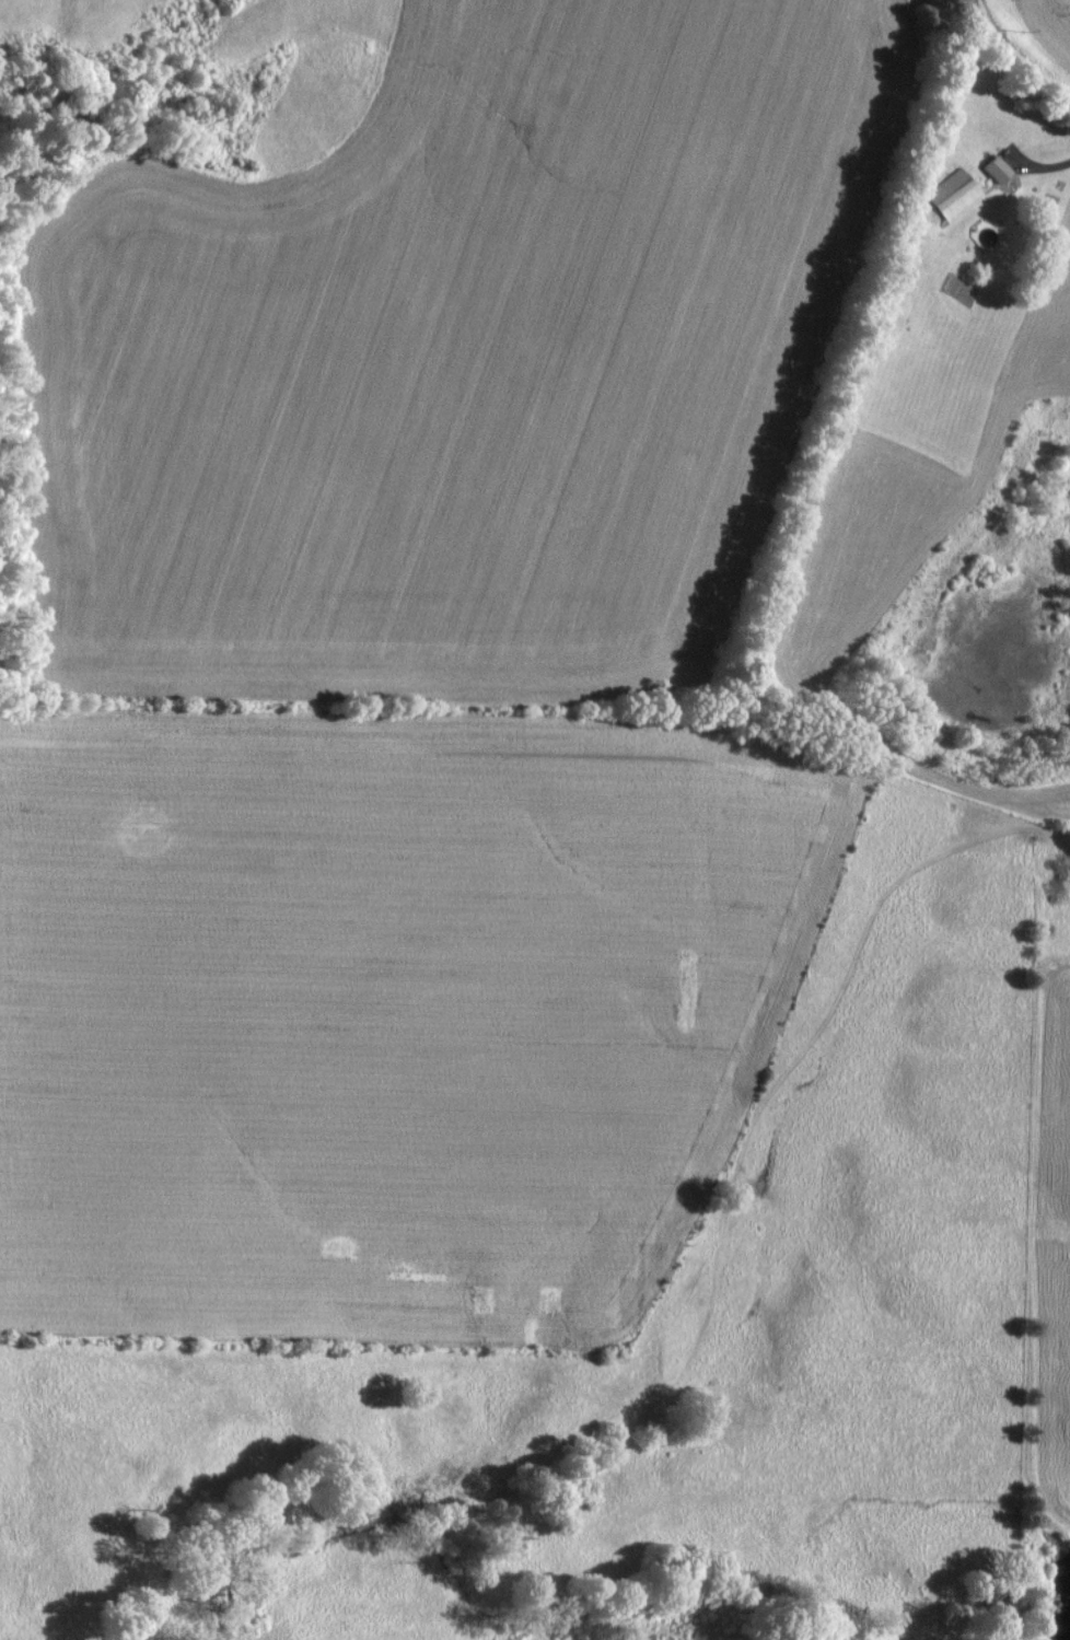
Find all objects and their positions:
road: (1012, 60)
building: (993, 168)
building: (951, 194)

